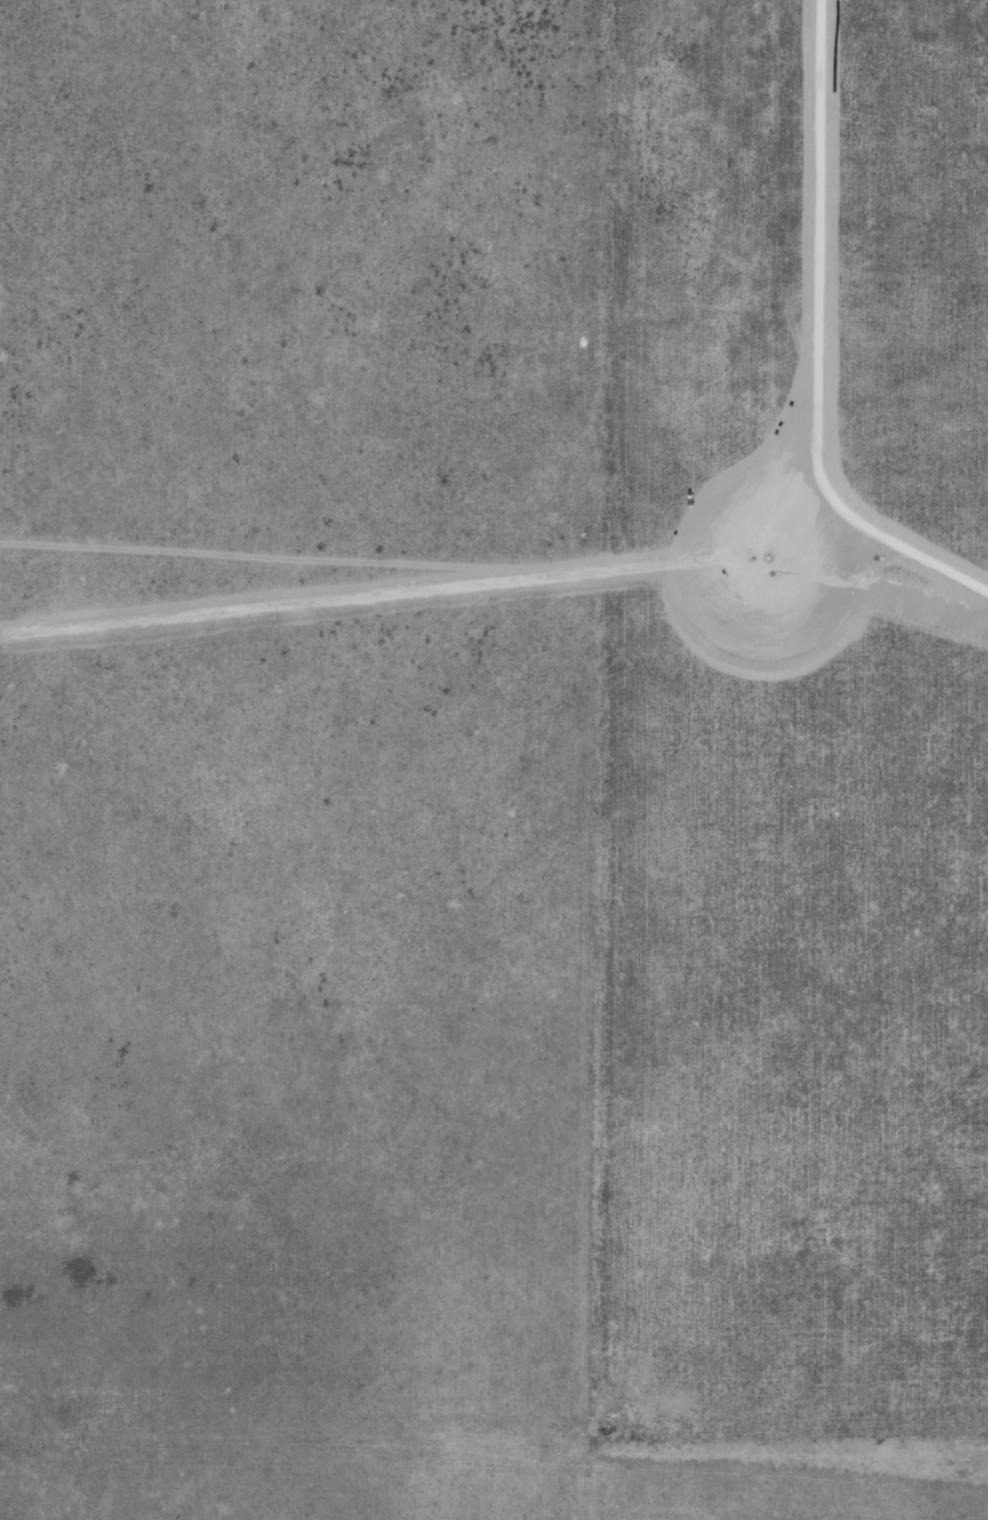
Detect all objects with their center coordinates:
wind turbine: (761, 548)

